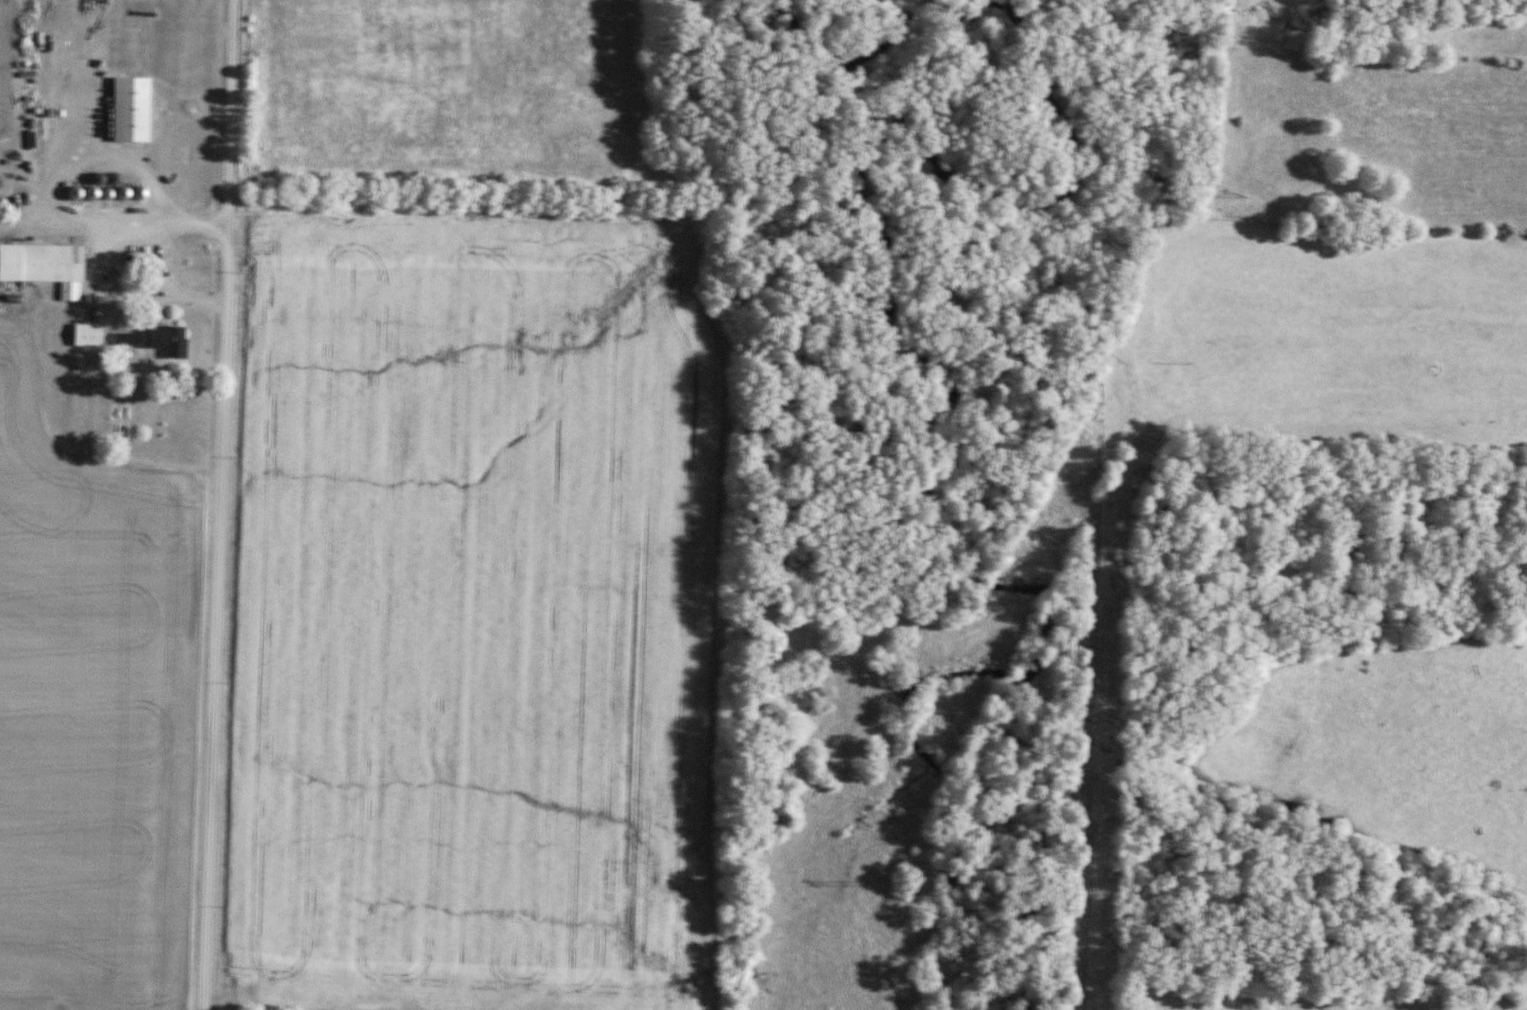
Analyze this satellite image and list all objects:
building: (134, 109)
power tower: (1221, 178)
road: (43, 197)
building: (46, 266)
road: (153, 289)
building: (89, 335)
building: (167, 341)
road: (212, 504)
power tower: (839, 862)

